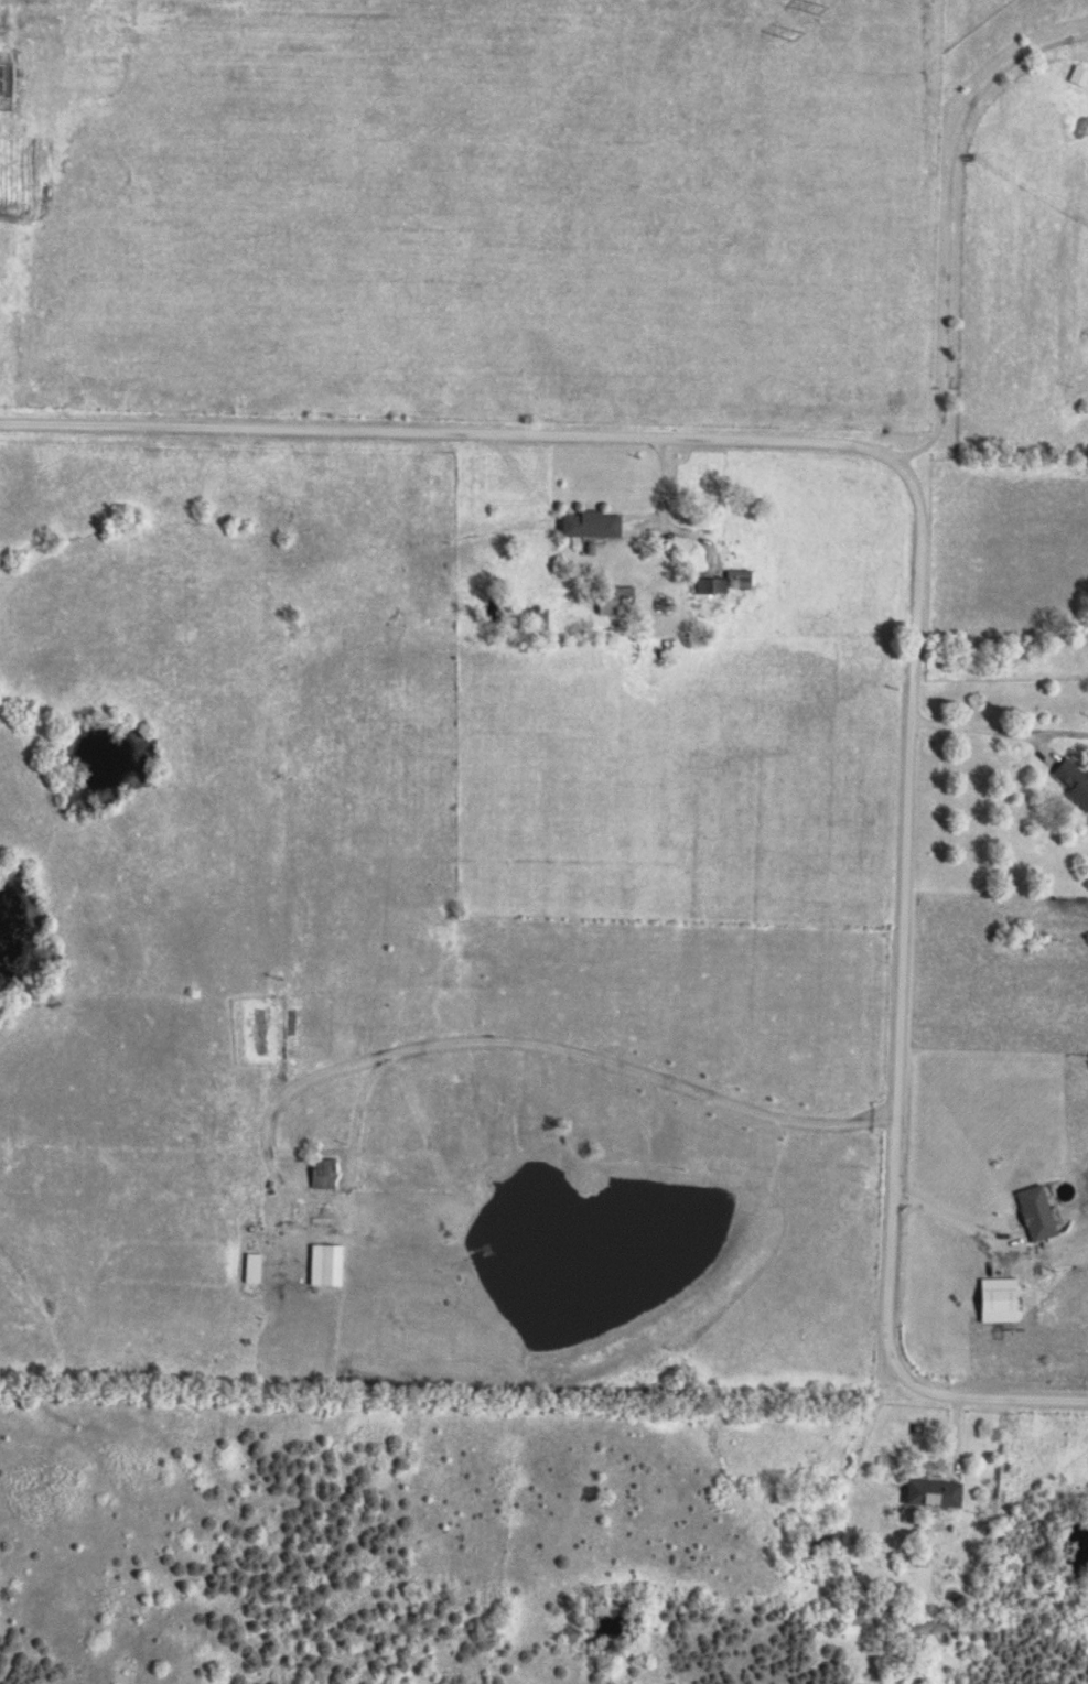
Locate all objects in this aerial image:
power tower: (811, 11)
power tower: (782, 33)
road: (949, 225)
road: (453, 436)
building: (588, 525)
building: (737, 579)
building: (613, 600)
building: (535, 619)
road: (982, 727)
building: (1071, 781)
road: (905, 922)
road: (550, 1051)
building: (320, 1173)
building: (1032, 1213)
road: (949, 1217)
building: (323, 1265)
building: (249, 1269)
road: (994, 1399)
building: (930, 1491)

